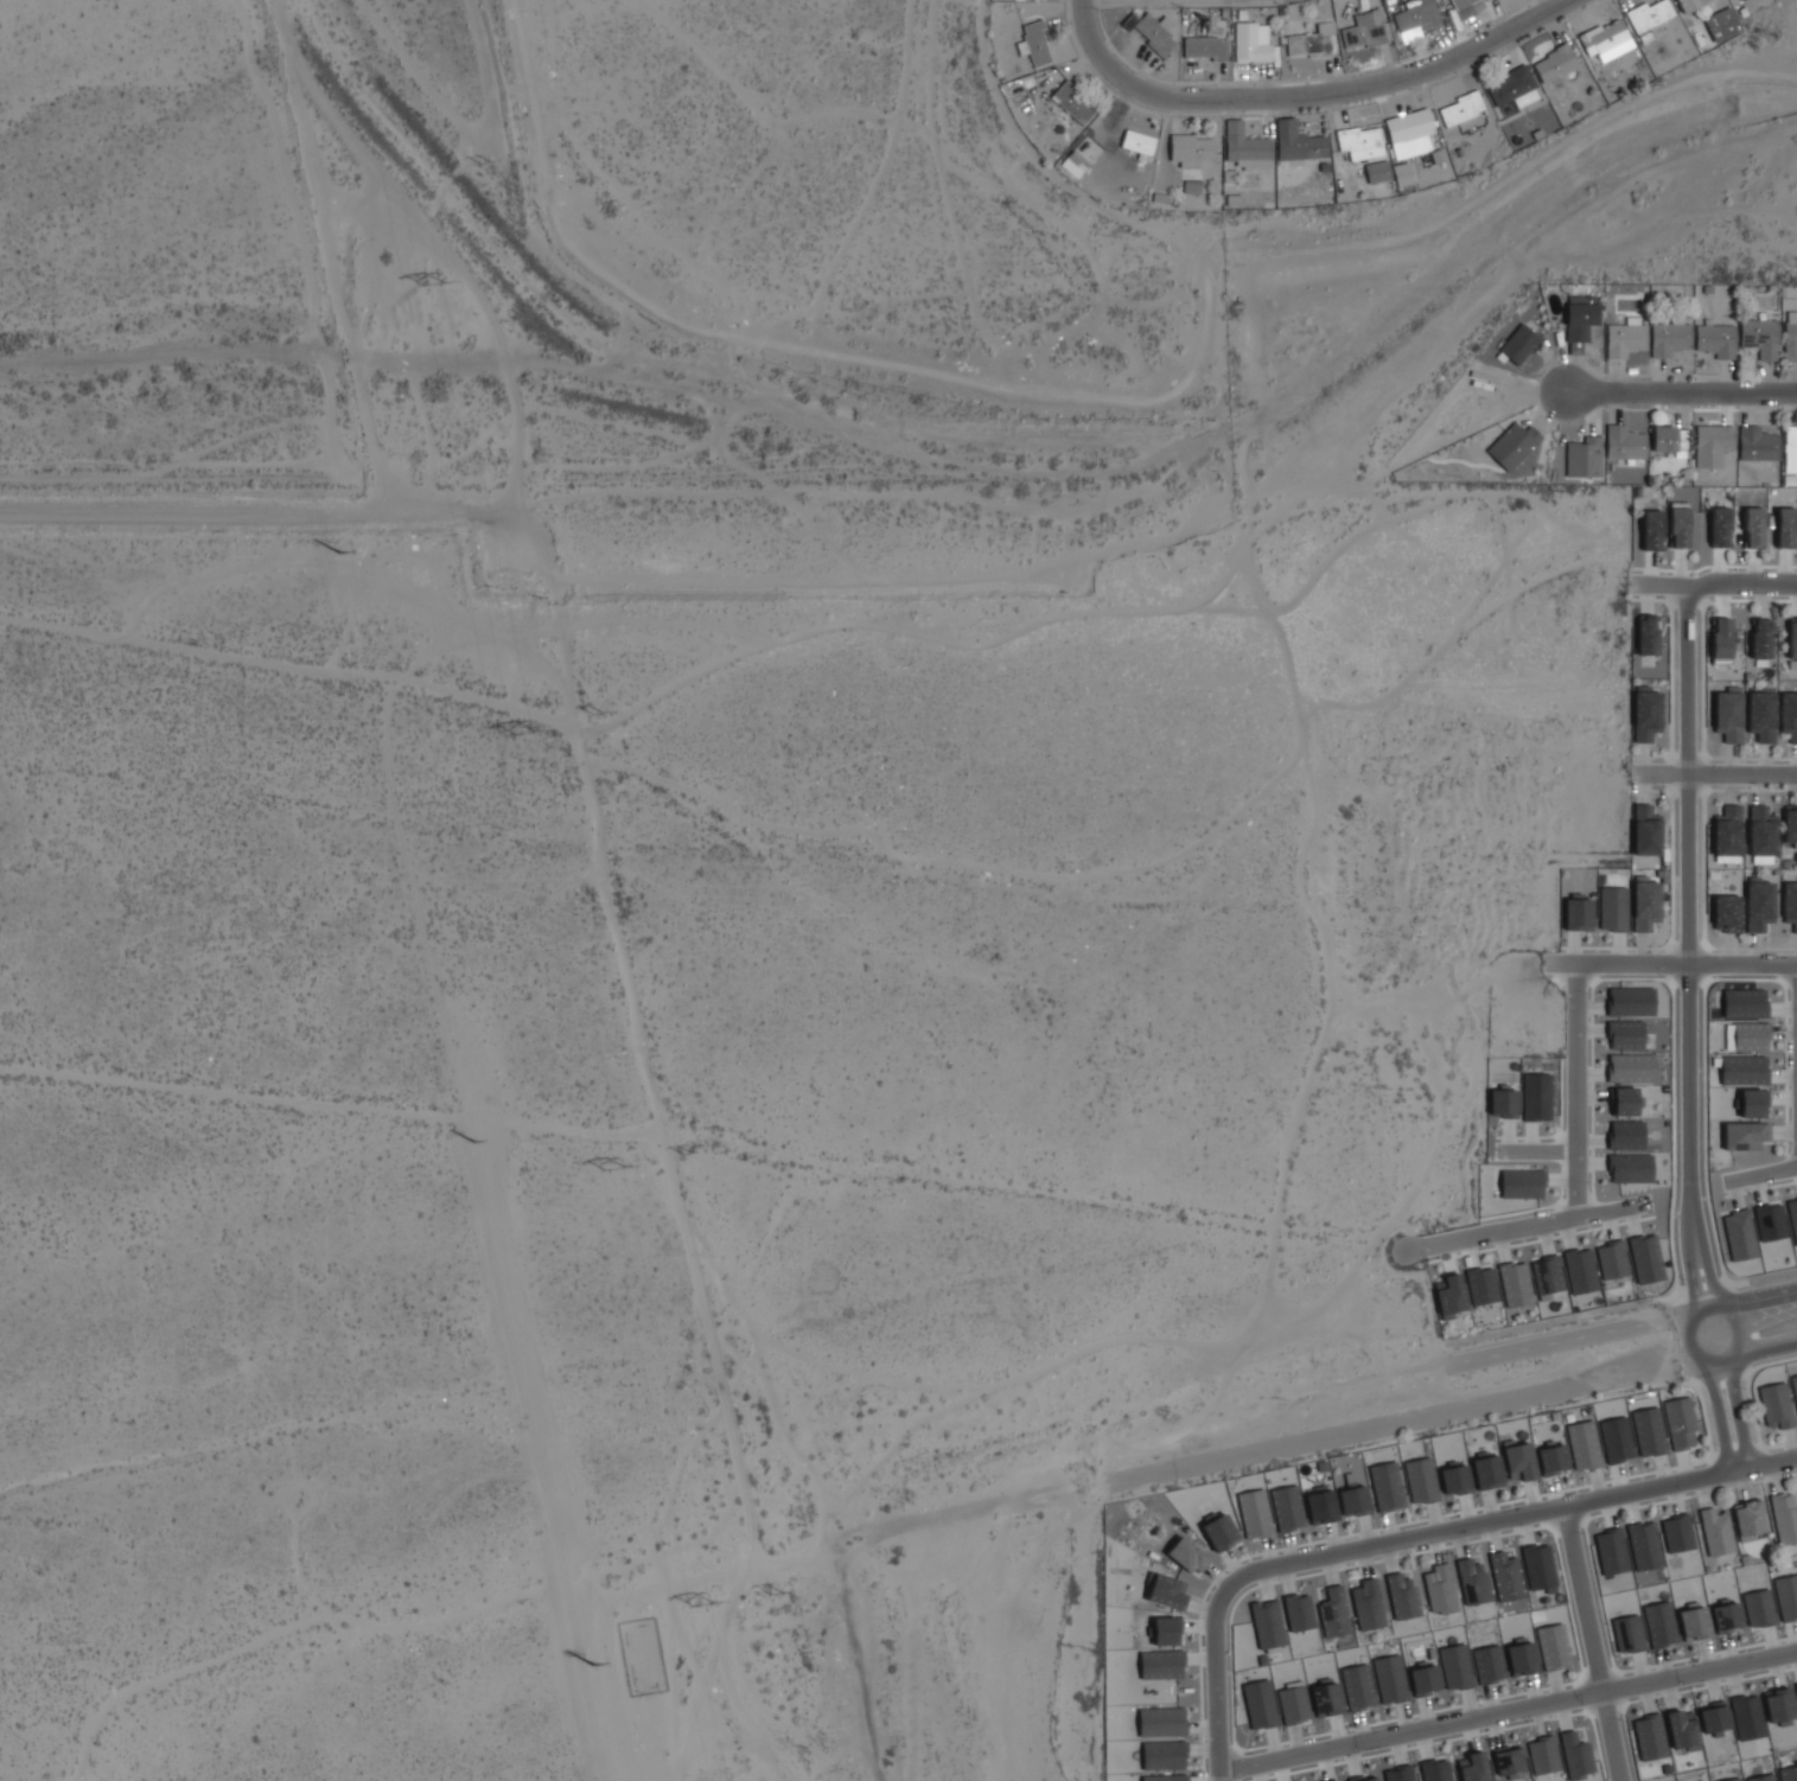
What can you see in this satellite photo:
building: (1689, 4)
building: (1468, 6)
building: (1648, 17)
building: (1416, 19)
building: (1722, 24)
building: (1365, 30)
building: (1154, 33)
building: (1606, 39)
building: (1250, 42)
building: (1311, 42)
building: (1035, 43)
building: (1204, 47)
building: (1554, 63)
building: (1510, 85)
road: (1306, 95)
building: (1072, 102)
building: (1460, 108)
building: (1409, 133)
building: (1298, 141)
building: (1138, 142)
building: (1361, 142)
building: (1245, 147)
building: (1190, 149)
power tower: (486, 164)
building: (1075, 164)
building: (1377, 171)
building: (1402, 174)
building: (1192, 186)
road: (1498, 189)
power tower: (435, 286)
building: (1579, 323)
building: (1790, 336)
building: (1760, 337)
building: (1625, 338)
building: (1669, 339)
building: (1715, 339)
building: (1519, 344)
road: (1681, 391)
building: (1625, 443)
building: (1757, 443)
building: (1512, 445)
building: (1712, 445)
building: (1790, 449)
building: (1583, 458)
building: (1678, 526)
building: (1720, 526)
building: (1753, 528)
building: (1785, 528)
building: (1652, 530)
power tower: (340, 555)
road: (1661, 586)
road: (1741, 587)
building: (1648, 634)
building: (1760, 638)
building: (1792, 638)
building: (1721, 640)
power tower: (597, 713)
building: (1645, 714)
building: (1728, 714)
building: (1761, 714)
building: (1789, 715)
power tower: (527, 733)
road: (1716, 771)
building: (1790, 823)
building: (1645, 830)
building: (1761, 831)
building: (1727, 832)
building: (1645, 904)
building: (1759, 904)
building: (1790, 904)
building: (1612, 908)
building: (1578, 913)
building: (1727, 913)
road: (1686, 920)
road: (1670, 962)
building: (1630, 1001)
building: (1744, 1003)
building: (1625, 1034)
building: (1751, 1036)
building: (1631, 1067)
building: (1744, 1070)
road: (1574, 1091)
building: (1536, 1097)
building: (1503, 1102)
building: (1627, 1102)
building: (1753, 1103)
power tower: (470, 1134)
building: (1626, 1135)
building: (1746, 1135)
road: (1536, 1151)
power tower: (687, 1153)
power tower: (614, 1168)
building: (1630, 1168)
road: (1761, 1174)
building: (1522, 1183)
building: (1792, 1217)
building: (1770, 1221)
road: (1524, 1227)
building: (1739, 1234)
building: (1645, 1258)
building: (1612, 1259)
building: (1580, 1270)
building: (1547, 1275)
road: (1708, 1276)
road: (1693, 1282)
road: (1737, 1282)
building: (1515, 1283)
building: (1481, 1285)
building: (1449, 1295)
road: (1760, 1297)
road: (1567, 1339)
road: (1767, 1348)
road: (1693, 1351)
road: (1733, 1354)
building: (1795, 1386)
building: (1776, 1405)
road: (1737, 1412)
road: (1429, 1413)
road: (1718, 1415)
building: (1680, 1423)
building: (1649, 1431)
building: (1616, 1440)
building: (1583, 1444)
building: (1551, 1458)
building: (1518, 1460)
building: (1486, 1470)
building: (1420, 1480)
building: (1454, 1480)
building: (1387, 1485)
building: (1353, 1498)
building: (1321, 1505)
building: (1286, 1507)
building: (1254, 1513)
building: (1784, 1517)
road: (1508, 1518)
building: (1748, 1519)
building: (1716, 1531)
building: (1219, 1532)
building: (1677, 1533)
building: (1644, 1546)
building: (1611, 1551)
building: (1186, 1555)
building: (1538, 1566)
building: (1505, 1576)
building: (1473, 1581)
building: (1181, 1587)
building: (1439, 1589)
power tower: (776, 1594)
building: (1401, 1595)
building: (1786, 1596)
power tower: (706, 1604)
building: (1368, 1604)
building: (1758, 1607)
building: (1299, 1611)
building: (1333, 1613)
building: (1726, 1616)
building: (1694, 1622)
building: (1267, 1623)
building: (1659, 1623)
building: (1165, 1630)
building: (1629, 1634)
road: (1595, 1643)
building: (1553, 1646)
building: (1521, 1658)
building: (1160, 1664)
building: (1487, 1664)
building: (1455, 1666)
building: (1389, 1678)
building: (1423, 1679)
road: (1216, 1684)
building: (1358, 1686)
building: (1796, 1689)
building: (1326, 1698)
building: (1292, 1703)
building: (1260, 1704)
building: (1779, 1705)
road: (1508, 1709)
building: (1746, 1717)
building: (1713, 1718)
building: (1161, 1722)
building: (1682, 1730)
building: (1649, 1737)
building: (1543, 1754)
building: (1164, 1755)
building: (1575, 1755)
building: (1506, 1761)
building: (1473, 1767)
building: (1435, 1770)
building: (1789, 1773)
building: (1398, 1774)
building: (1364, 1777)
building: (1761, 1777)
building: (1733, 1779)
building: (1338, 1780)

